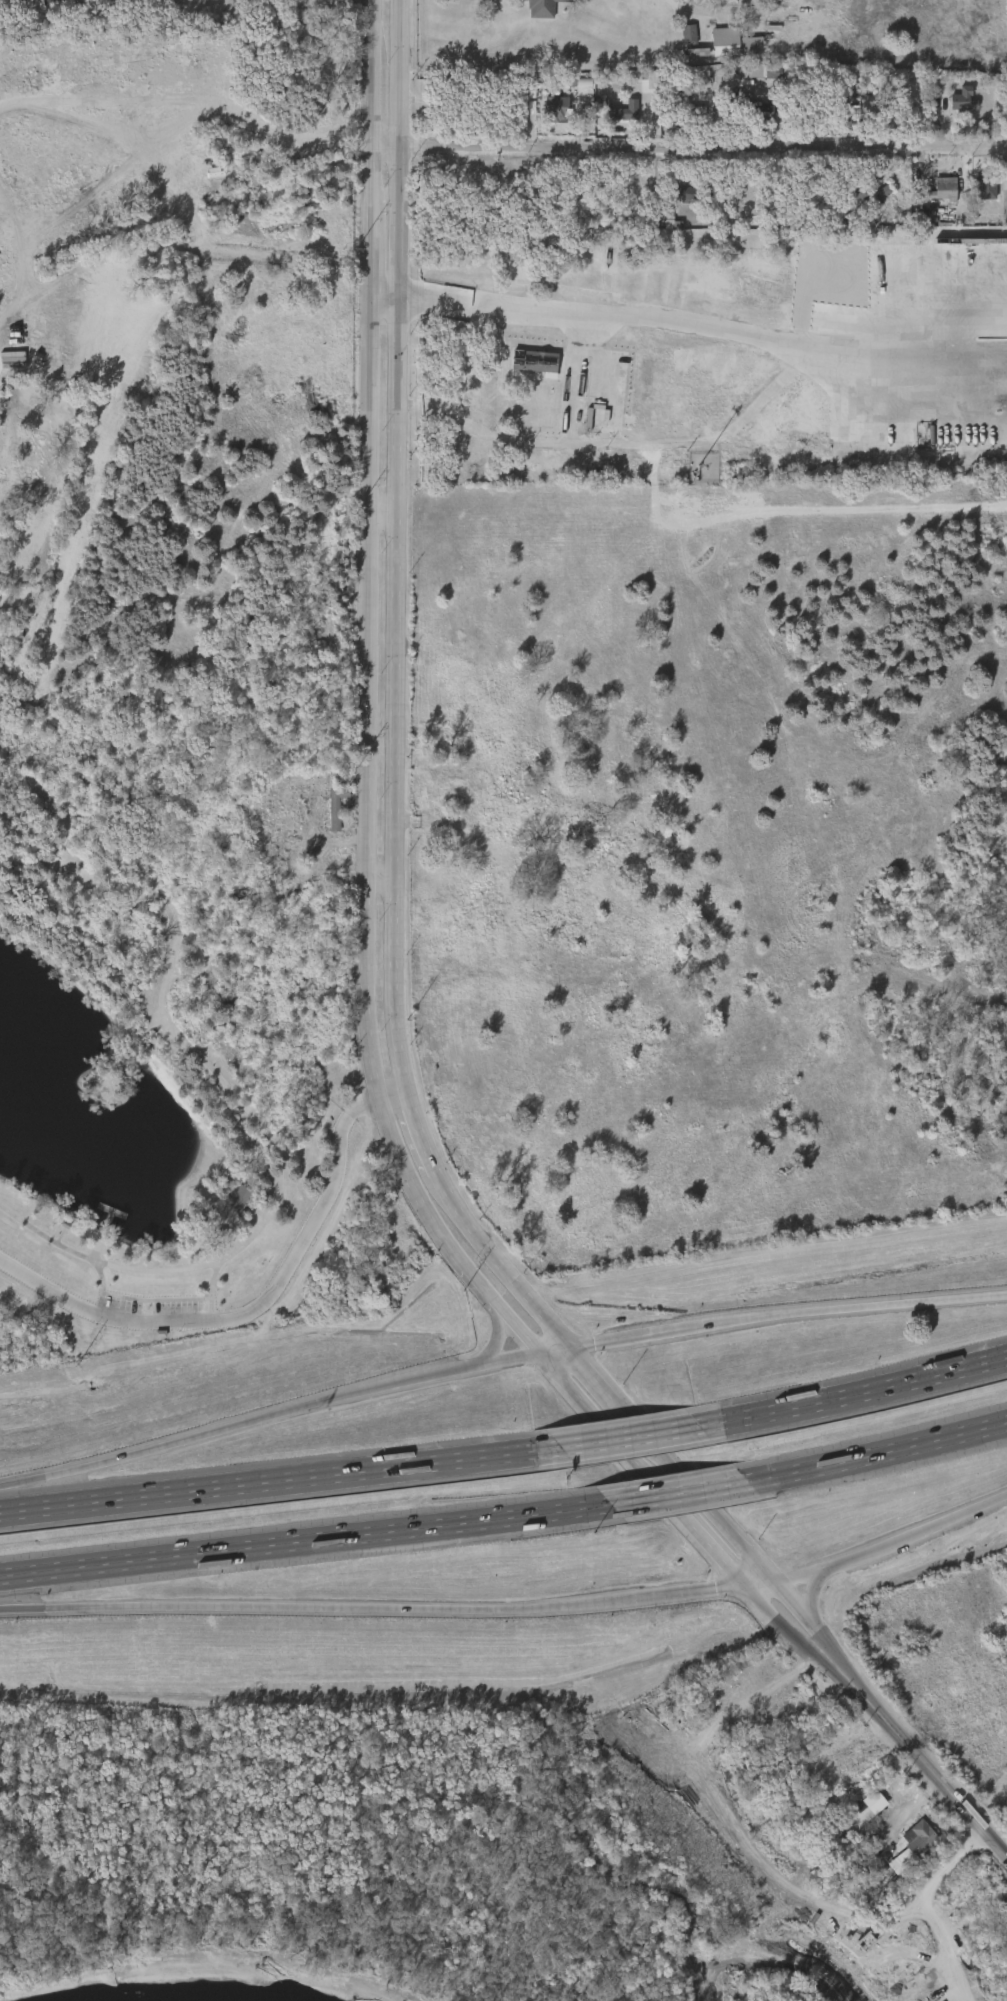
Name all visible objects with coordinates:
building: (50, 0)
road: (135, 0)
road: (304, 1)
building: (12, 4)
building: (543, 8)
road: (697, 8)
building: (682, 40)
building: (737, 41)
building: (726, 49)
building: (690, 59)
building: (961, 99)
building: (556, 105)
building: (823, 105)
building: (627, 106)
building: (683, 106)
building: (755, 110)
building: (614, 121)
road: (685, 151)
building: (942, 189)
building: (987, 189)
building: (688, 193)
building: (870, 193)
building: (978, 195)
building: (936, 196)
building: (861, 201)
building: (759, 211)
building: (1005, 215)
road: (174, 246)
road: (380, 296)
road: (533, 312)
building: (527, 367)
building: (546, 387)
building: (534, 414)
road: (379, 513)
road: (396, 543)
building: (336, 803)
building: (329, 812)
road: (363, 856)
road: (381, 879)
road: (395, 1089)
road: (424, 1129)
building: (233, 1204)
road: (502, 1260)
road: (247, 1311)
road: (786, 1313)
road: (497, 1336)
road: (553, 1350)
road: (854, 1393)
road: (609, 1395)
road: (269, 1414)
road: (627, 1437)
road: (878, 1453)
road: (276, 1480)
road: (682, 1492)
road: (711, 1511)
road: (307, 1540)
road: (891, 1544)
road: (756, 1583)
road: (809, 1593)
road: (372, 1608)
road: (806, 1621)
road: (786, 1630)
road: (921, 1760)
building: (859, 1814)
building: (923, 1831)
building: (907, 1851)
road: (942, 1870)

